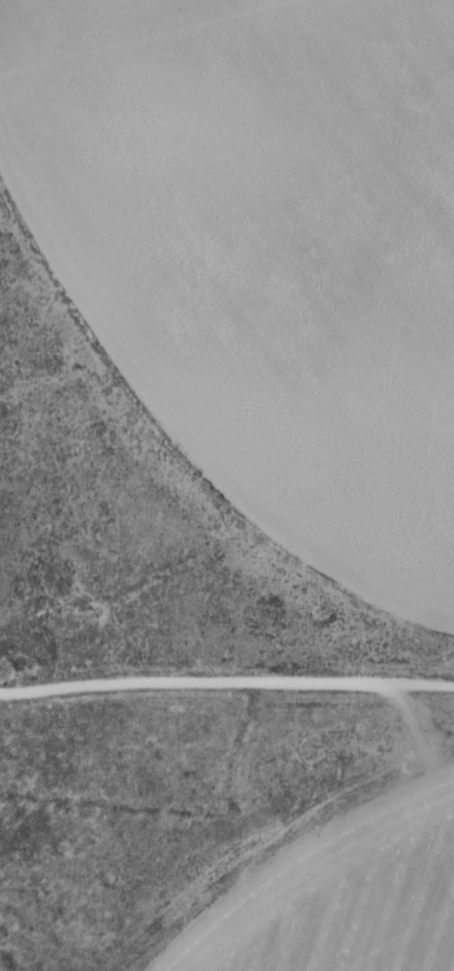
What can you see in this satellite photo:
road: (226, 685)

